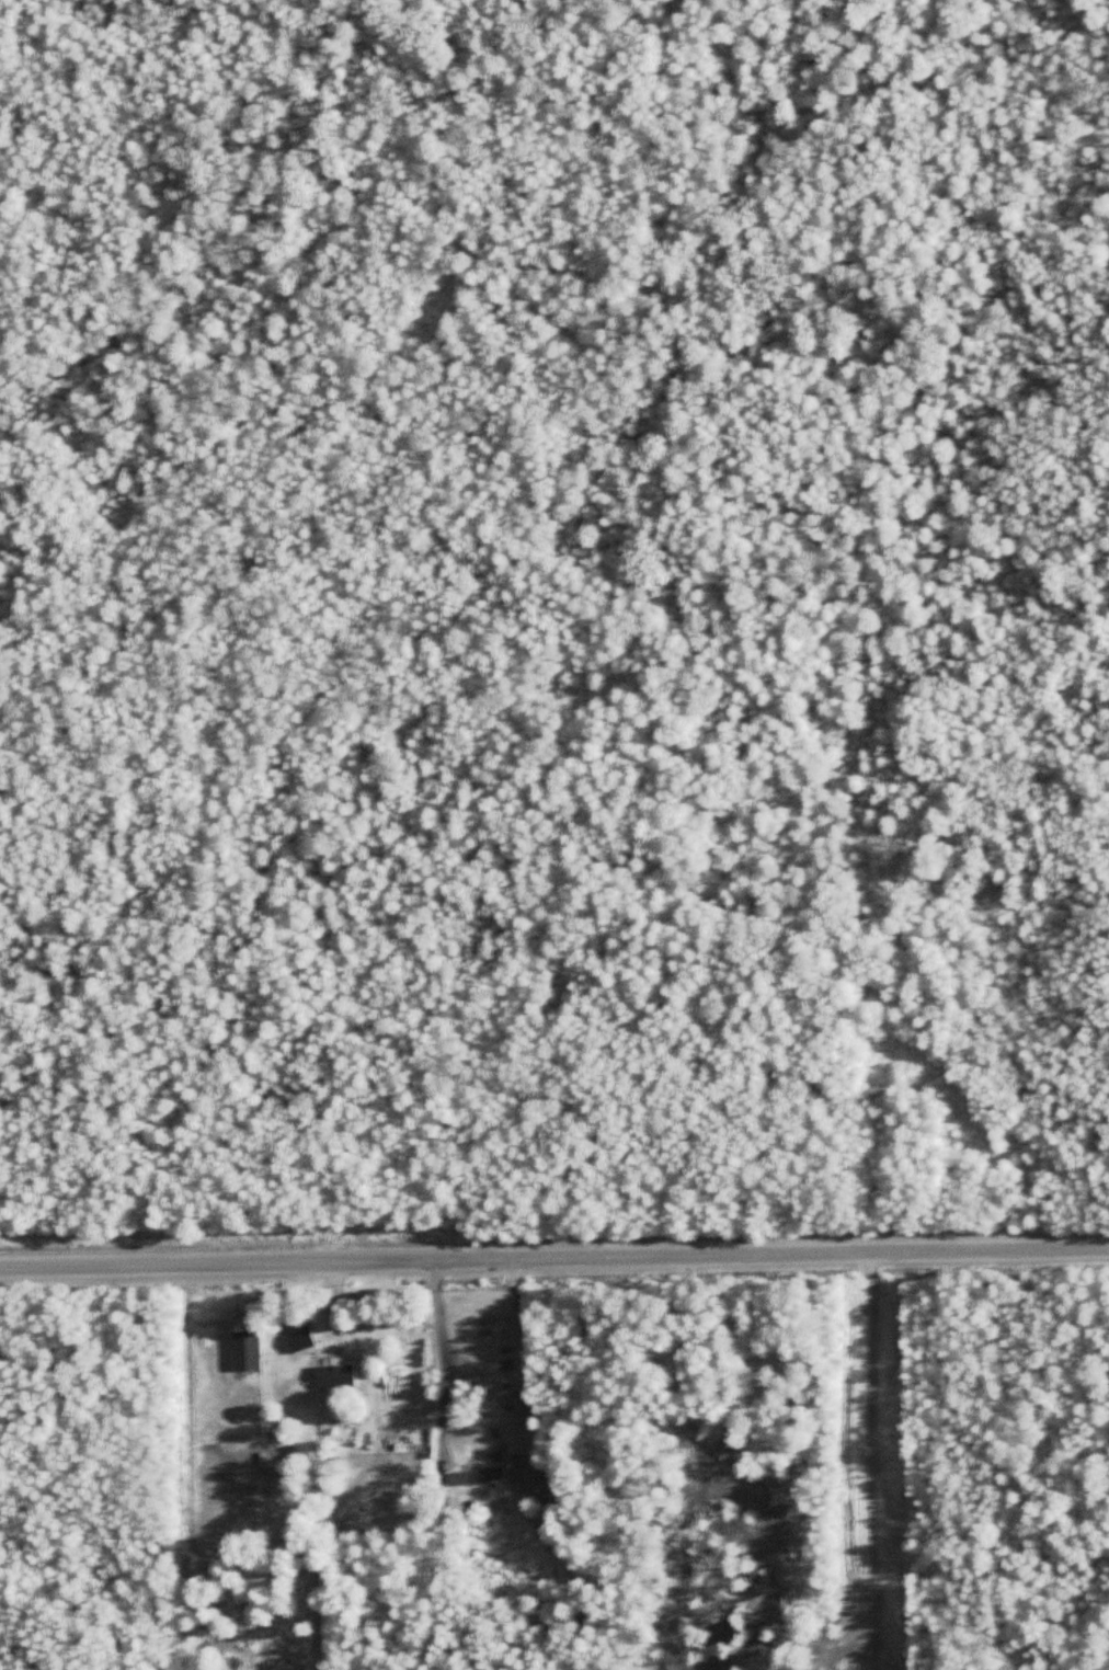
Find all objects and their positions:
road: (553, 1258)
building: (299, 1340)
building: (245, 1350)
road: (441, 1359)
building: (504, 1371)
building: (335, 1376)
building: (478, 1476)
building: (533, 1482)

